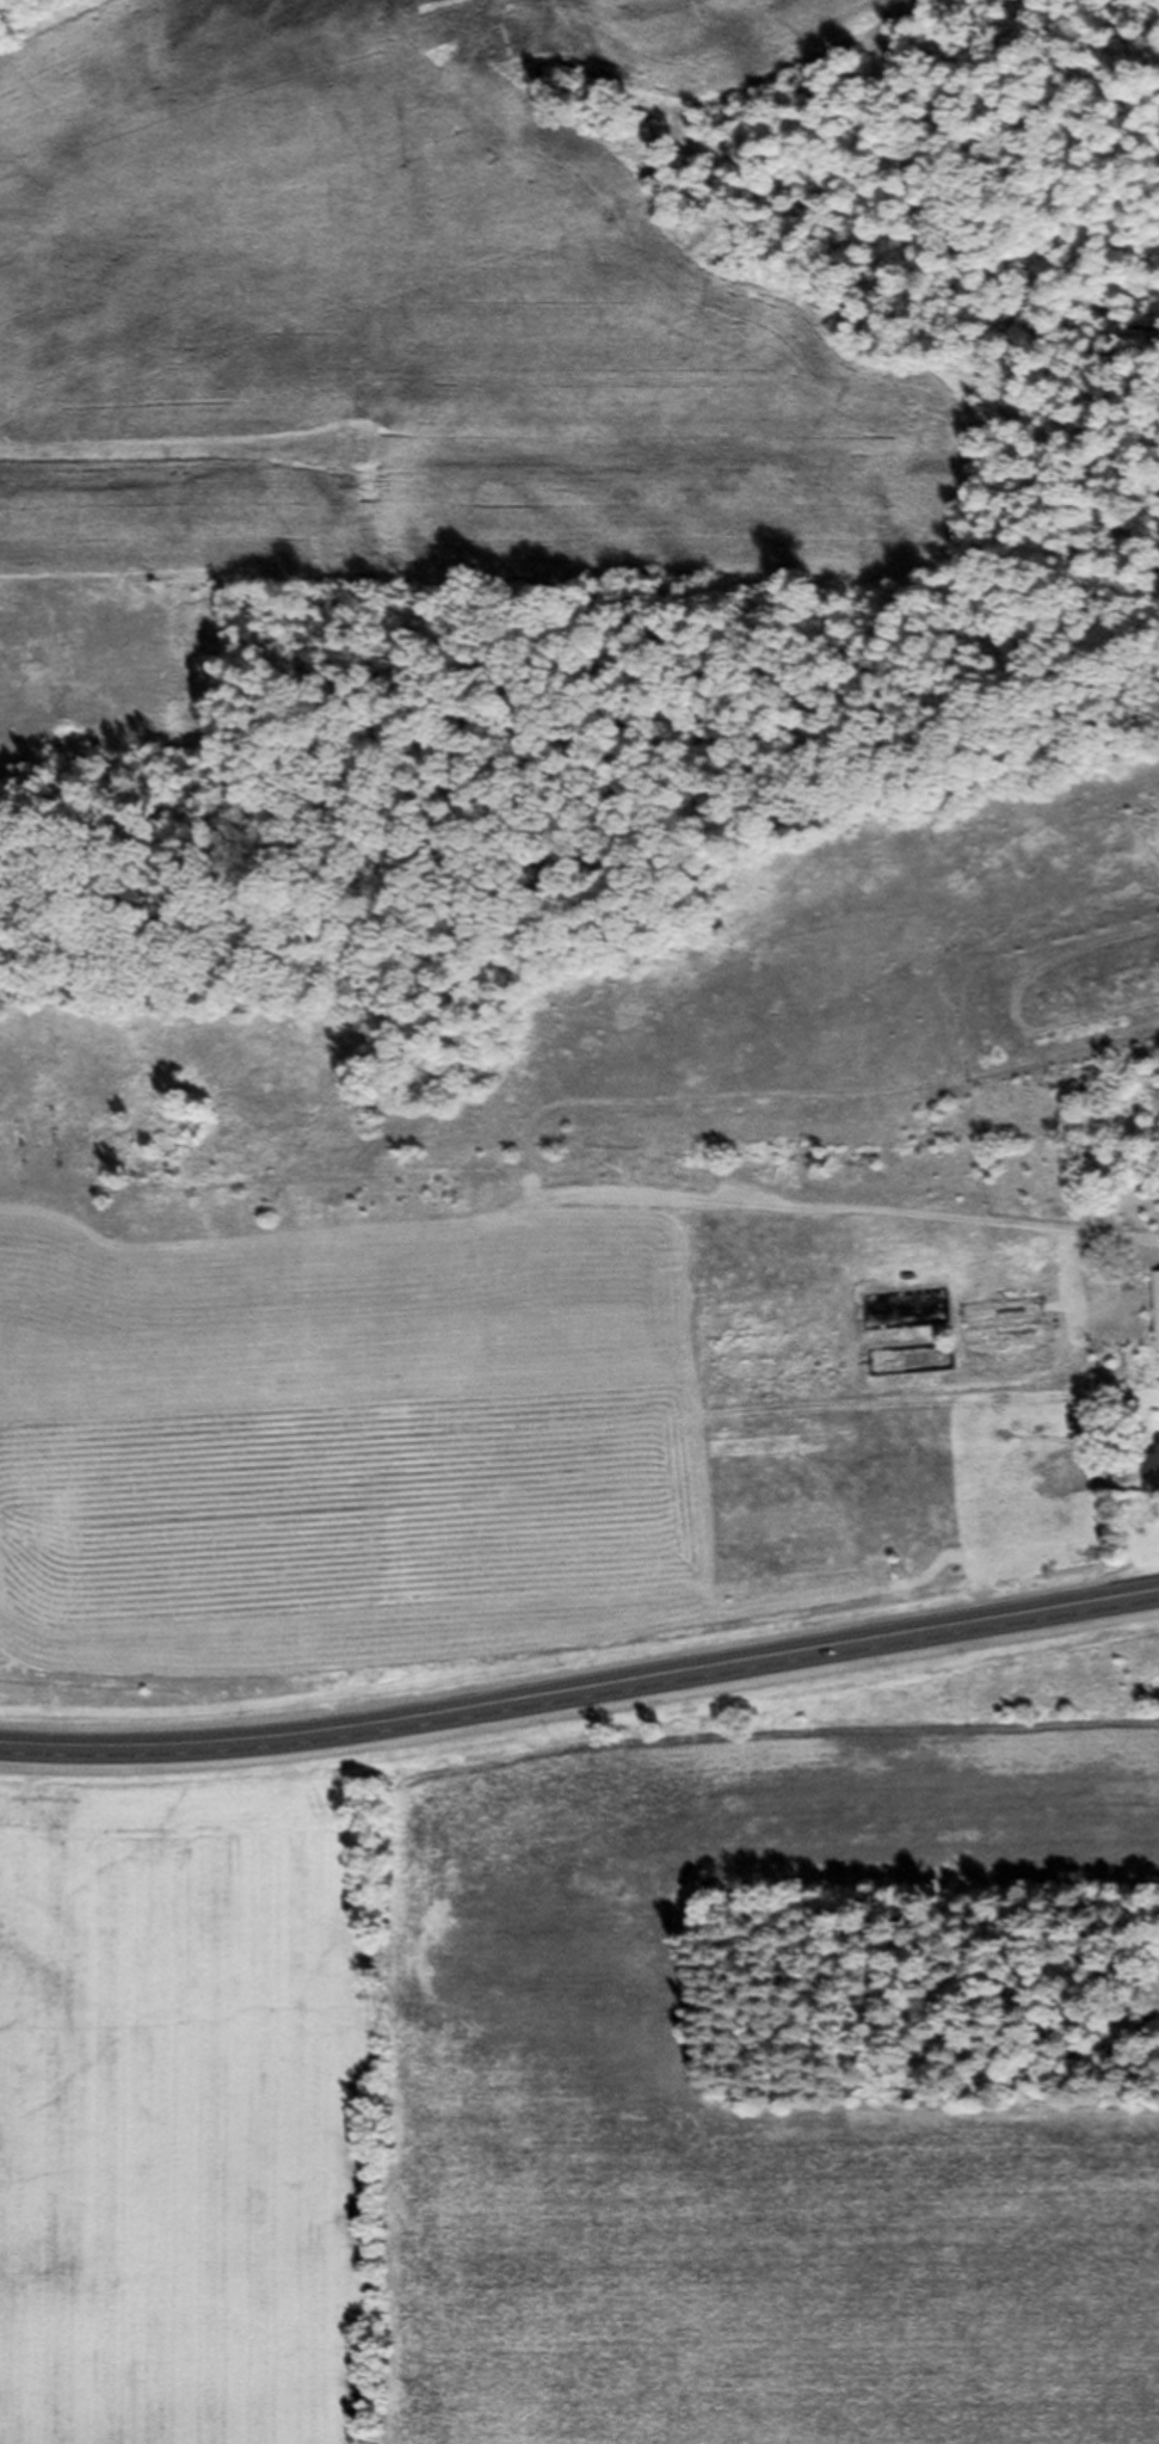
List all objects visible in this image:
building: (1154, 1317)
building: (1000, 1324)
building: (1093, 1377)
building: (1124, 1377)
building: (1153, 1475)
road: (581, 1688)

